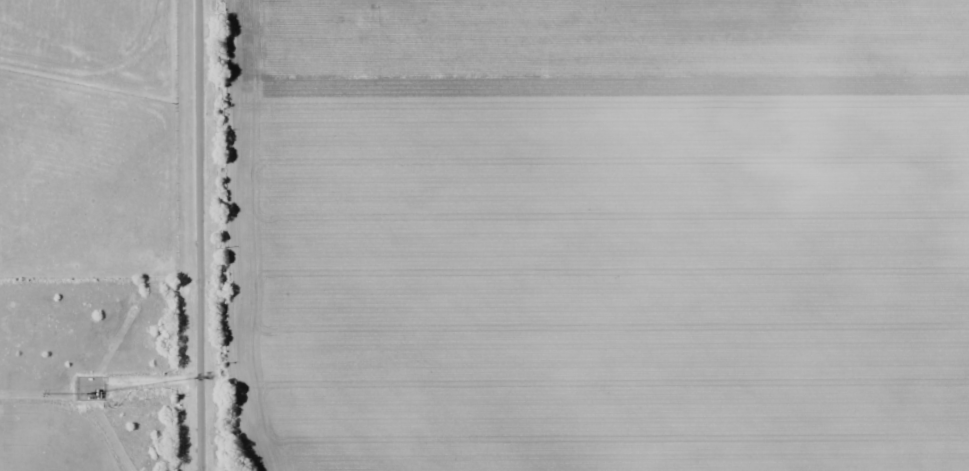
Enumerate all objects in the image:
road: (198, 235)

